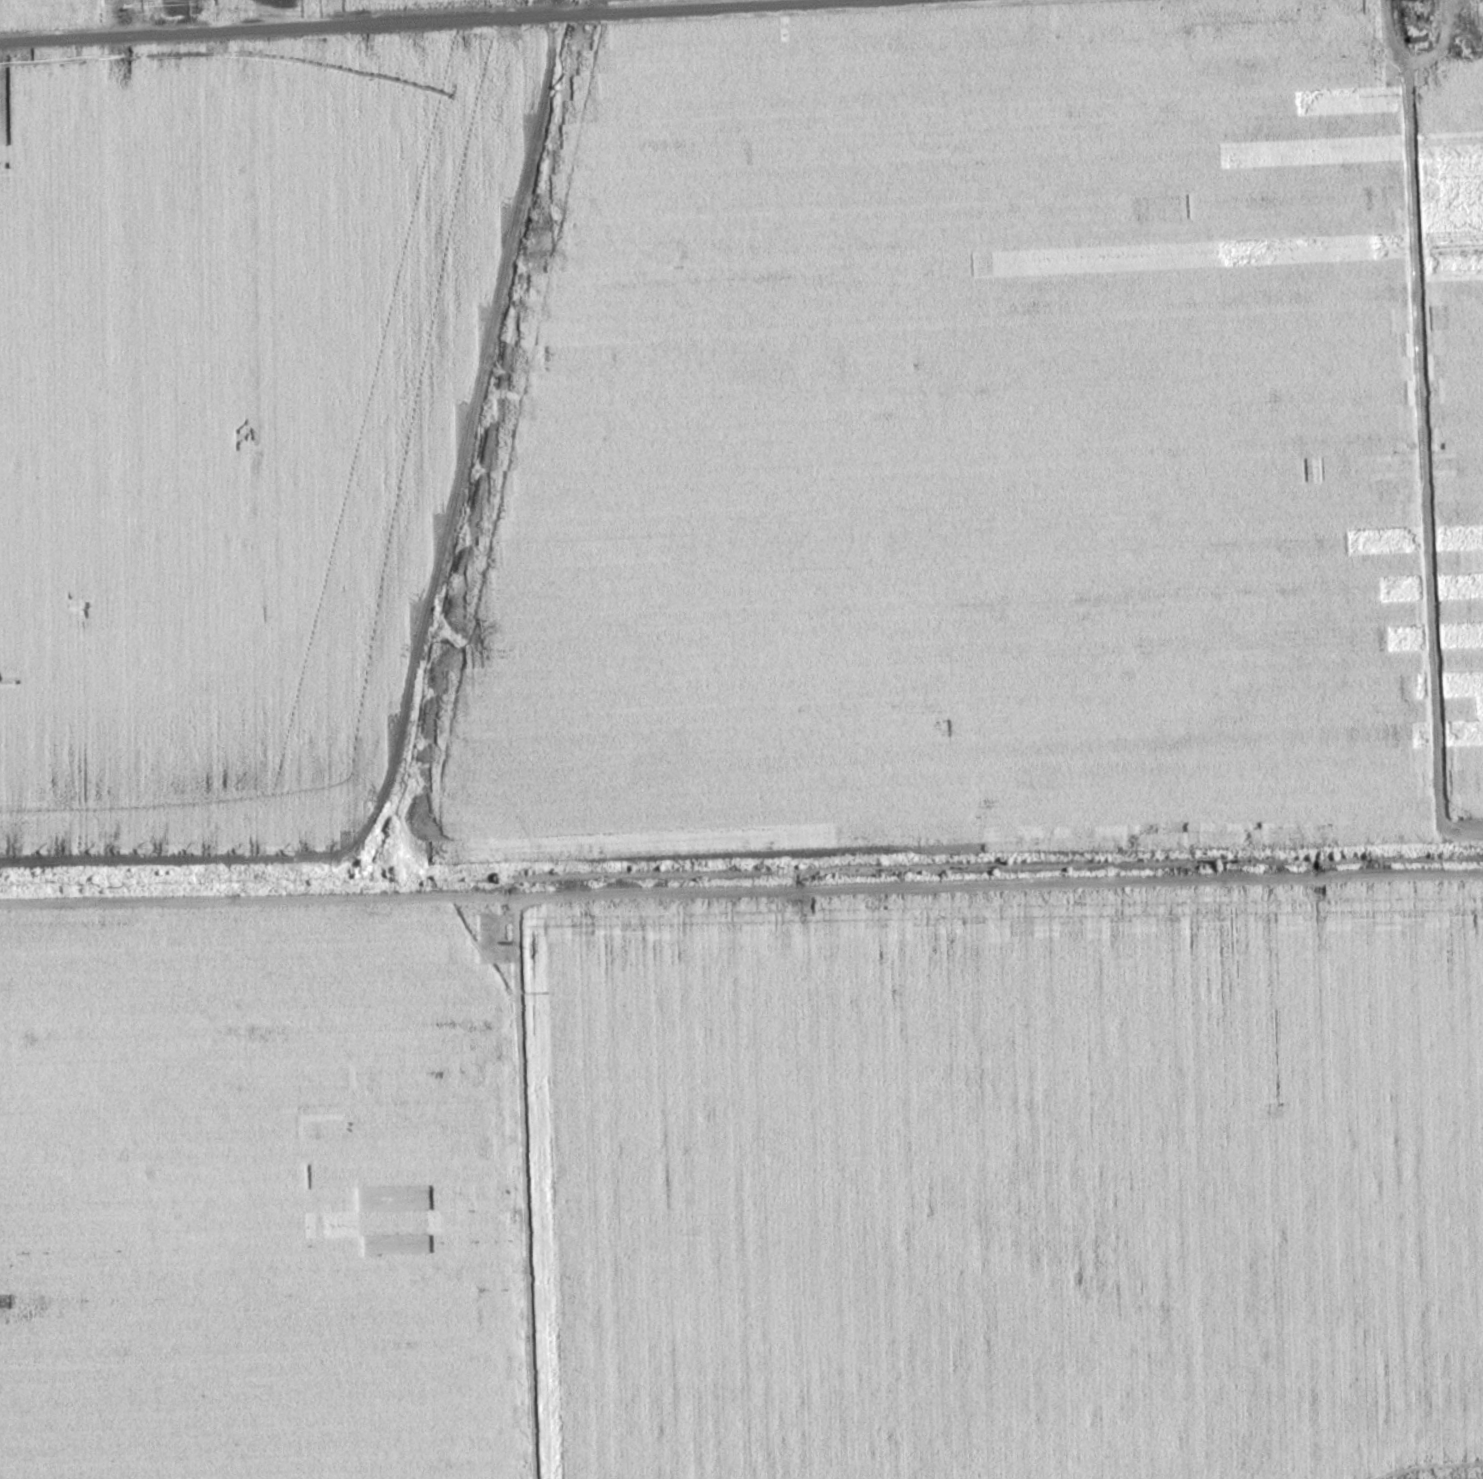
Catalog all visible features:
road: (452, 23)

